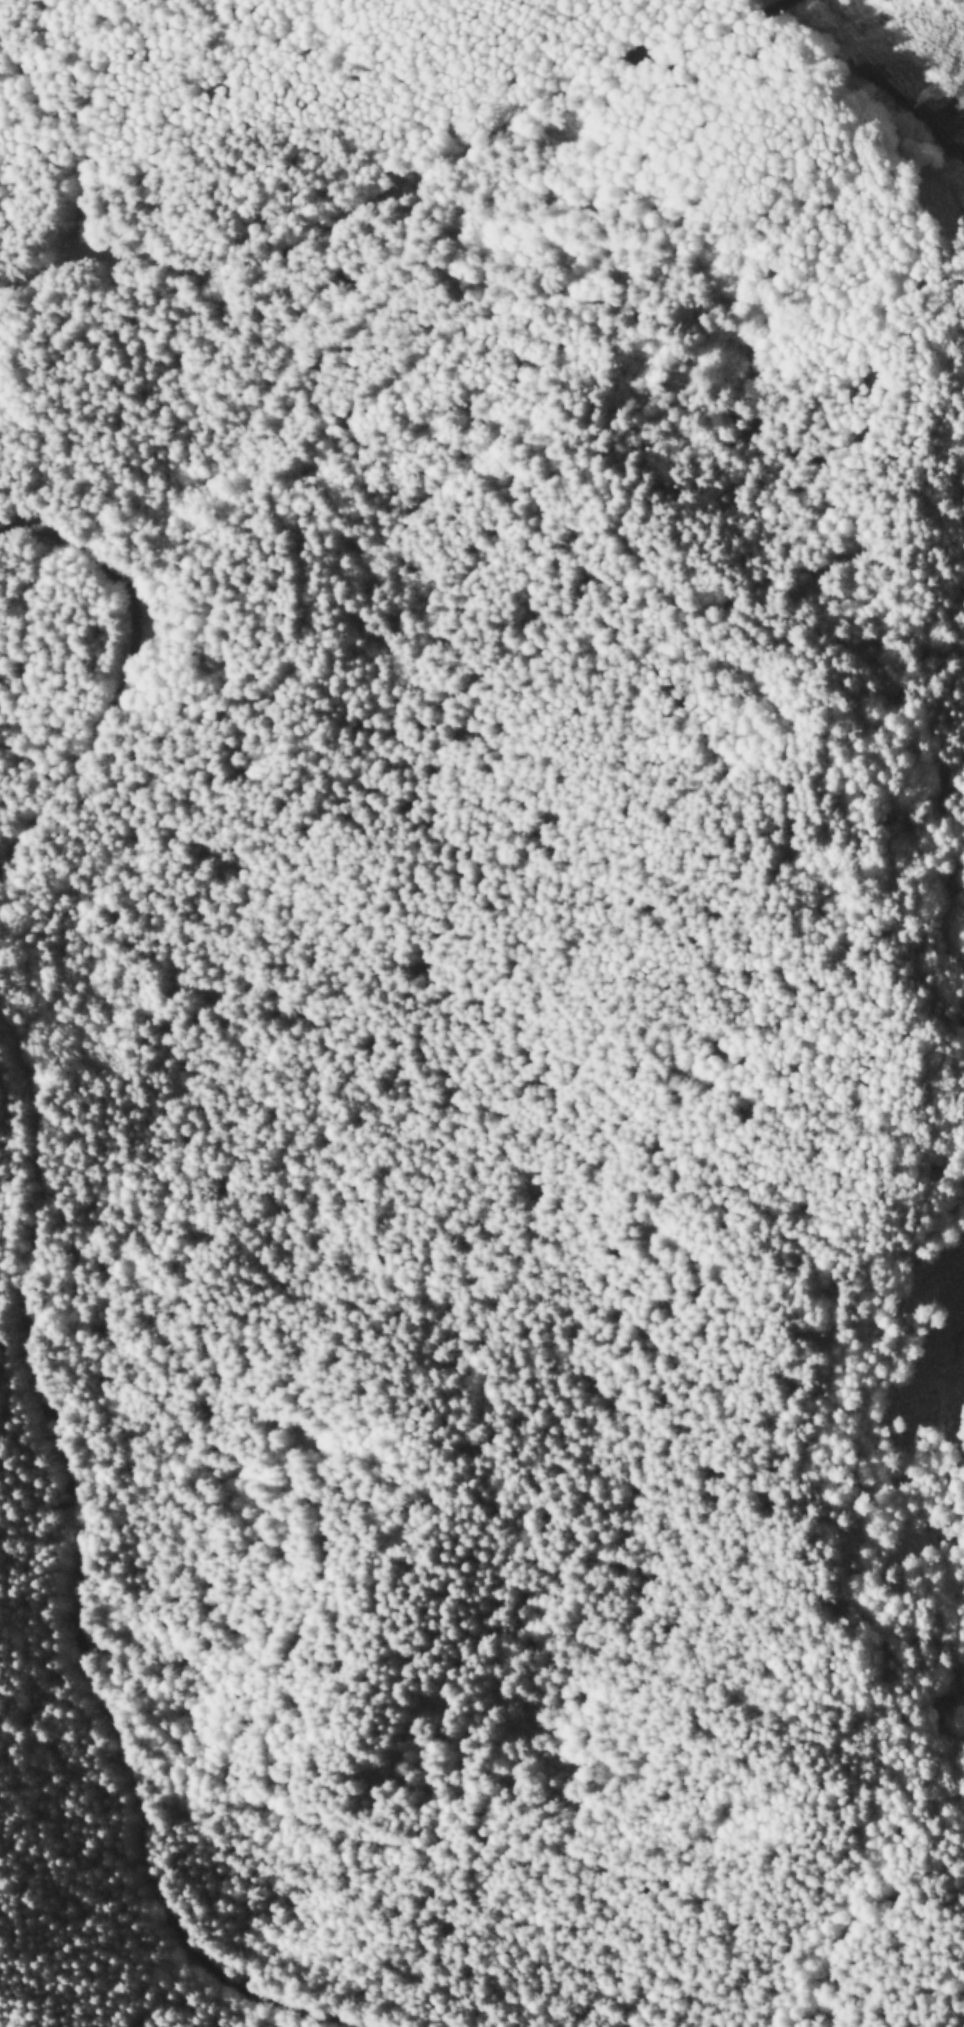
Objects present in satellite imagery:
road: (450, 88)
power tower: (942, 92)
road: (33, 194)
road: (56, 762)
road: (39, 1777)

